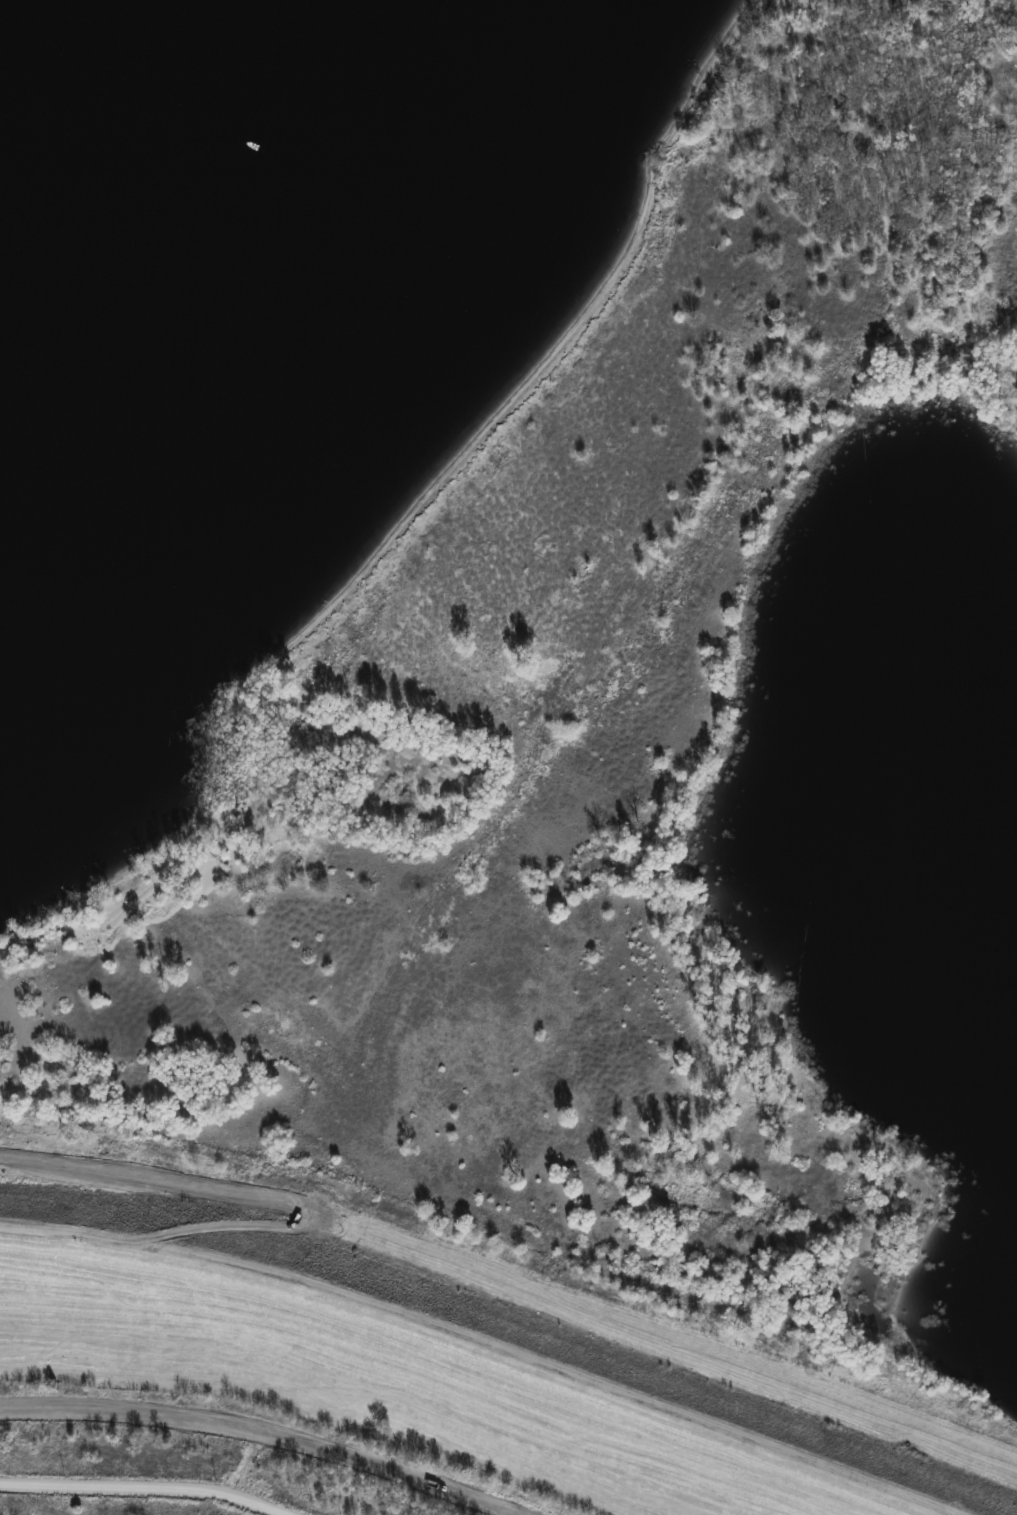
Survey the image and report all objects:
road: (484, 1344)
dam: (445, 1355)
road: (266, 1434)

